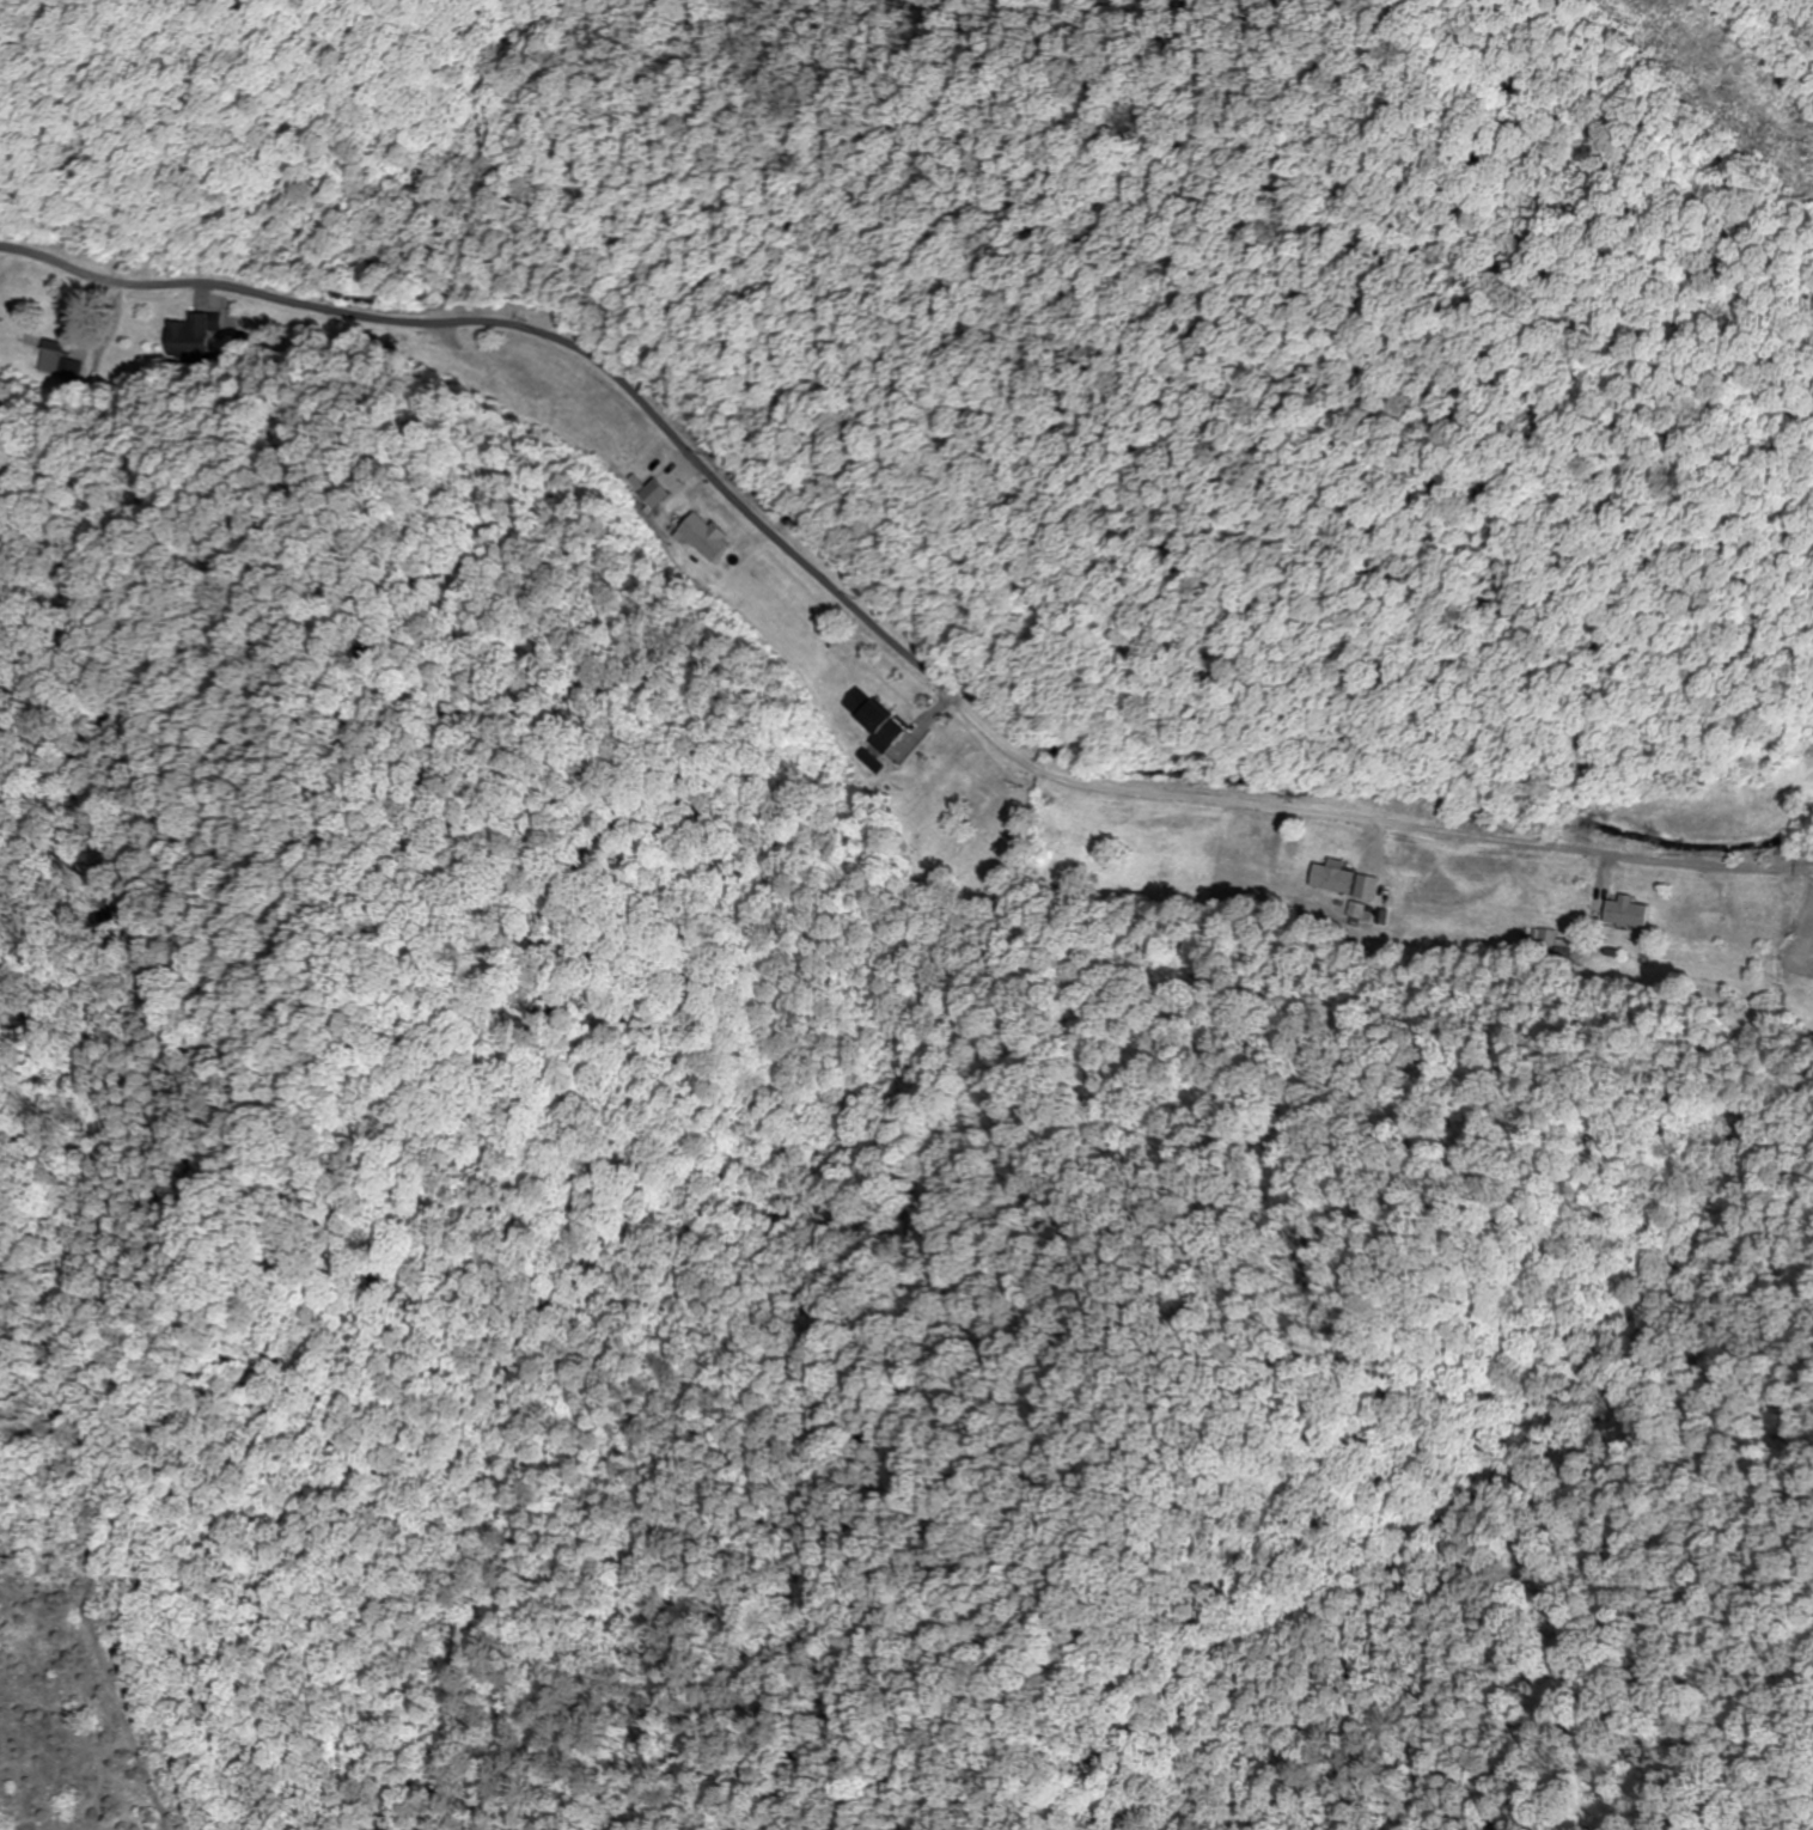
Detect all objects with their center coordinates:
building: (195, 335)
building: (59, 346)
building: (529, 379)
building: (706, 537)
road: (800, 561)
building: (874, 719)
building: (1335, 878)
building: (1628, 913)

